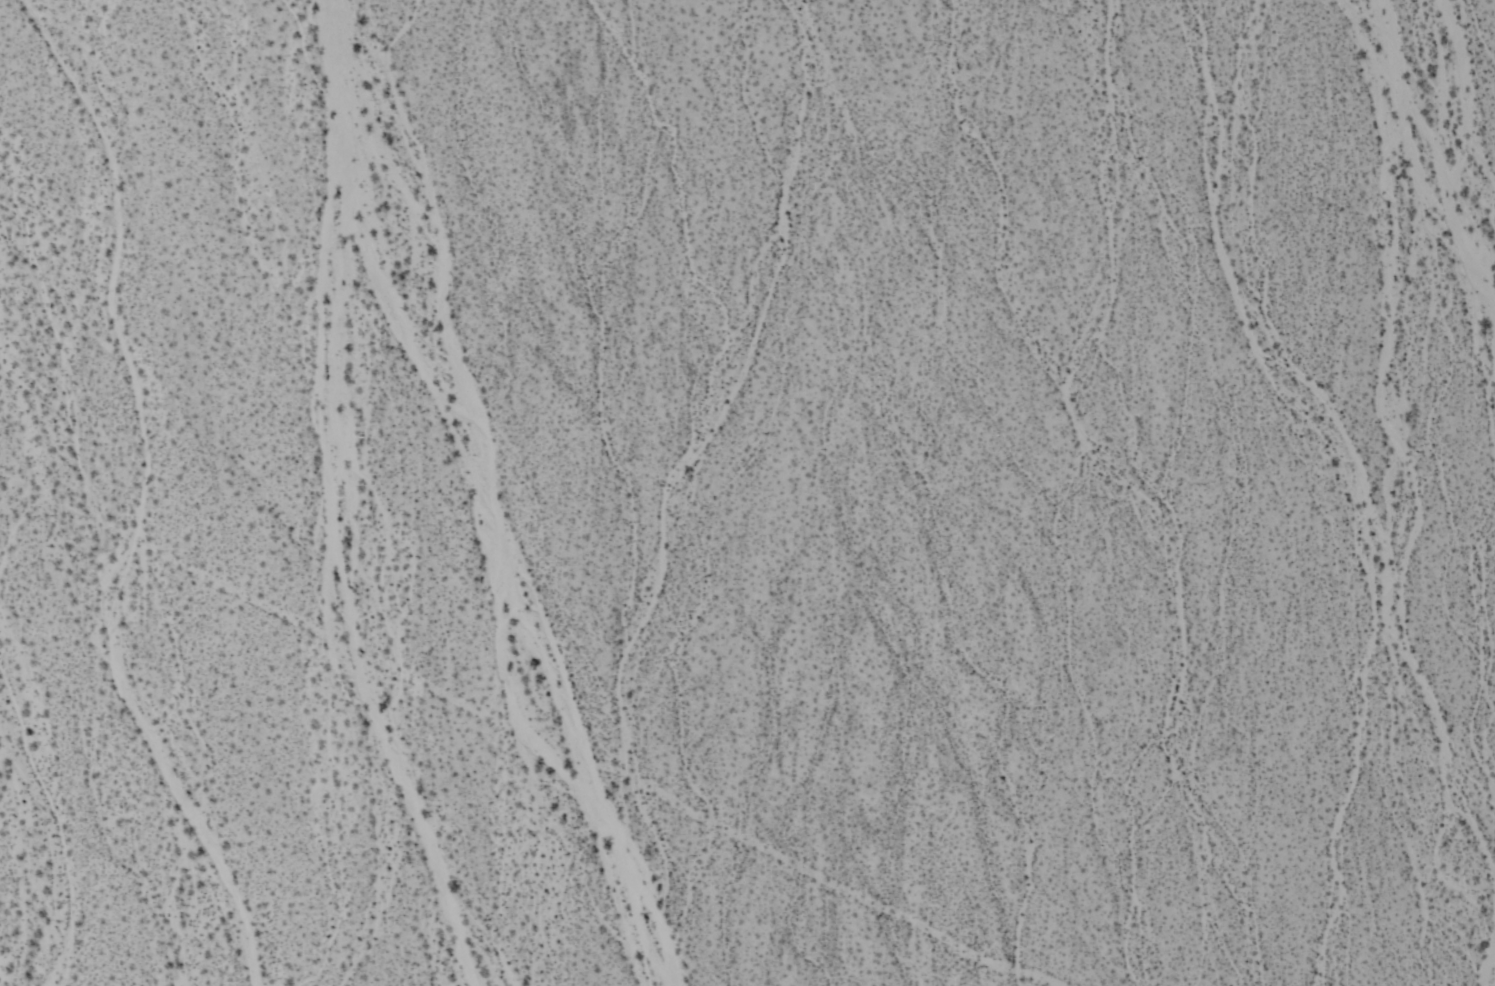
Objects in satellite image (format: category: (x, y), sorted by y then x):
road: (528, 733)

